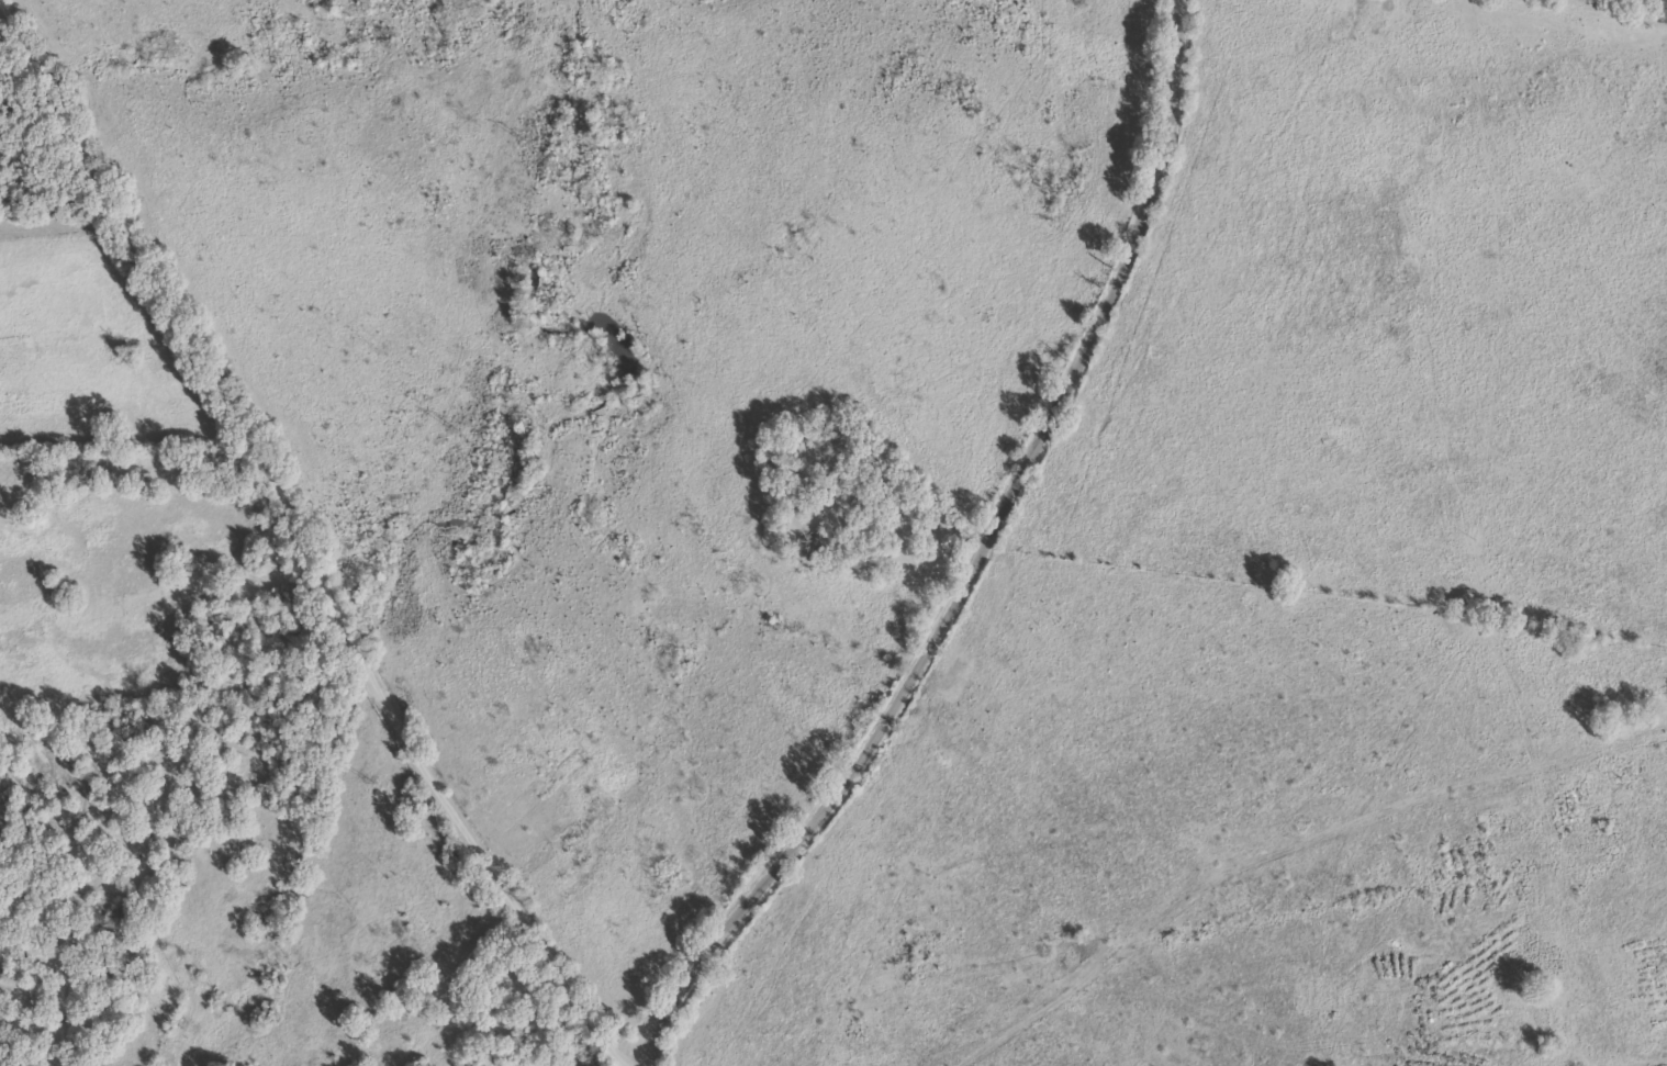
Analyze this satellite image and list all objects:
park: (861, 503)
road: (299, 547)
road: (974, 568)
power tower: (372, 782)

